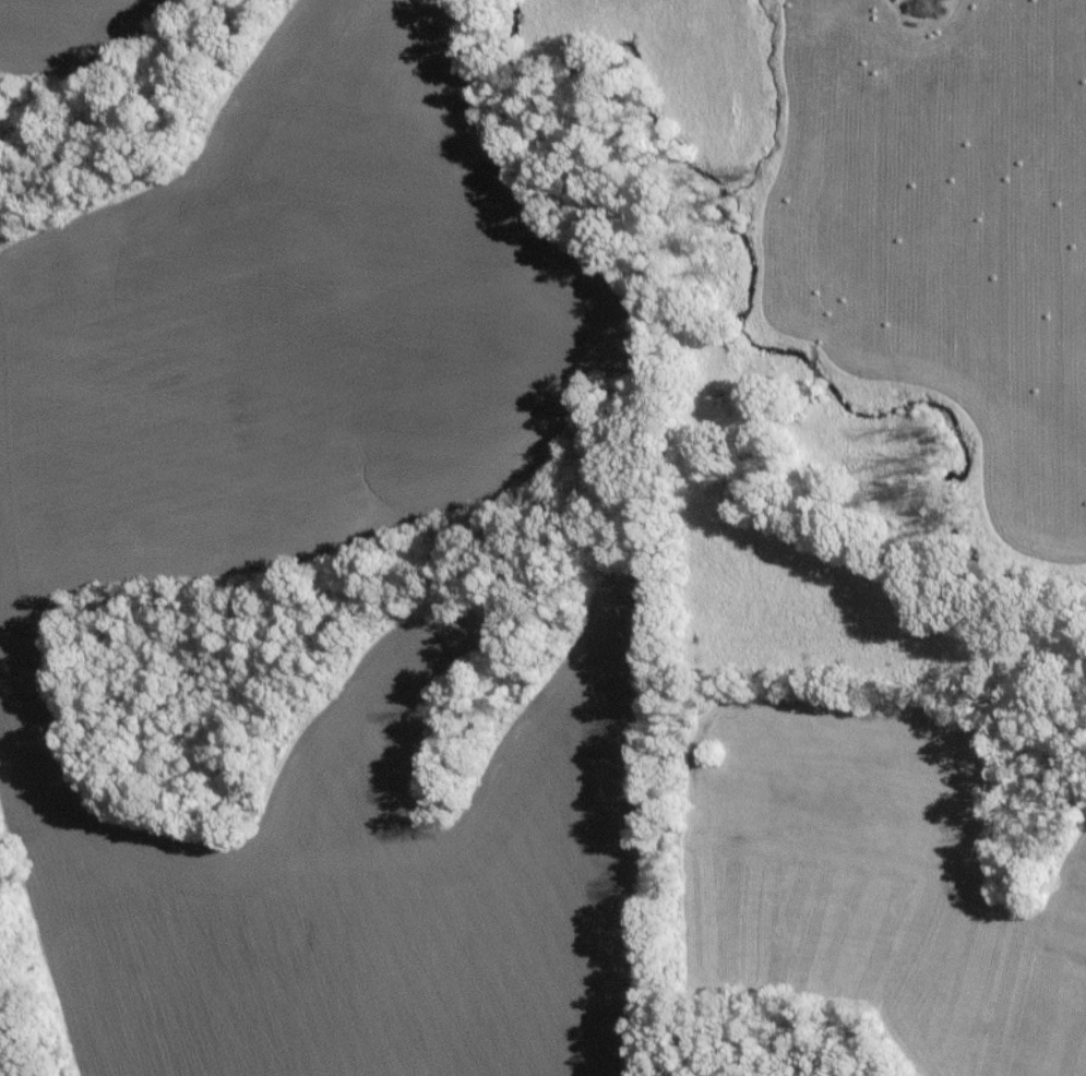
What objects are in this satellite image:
railway: (9, 1044)

